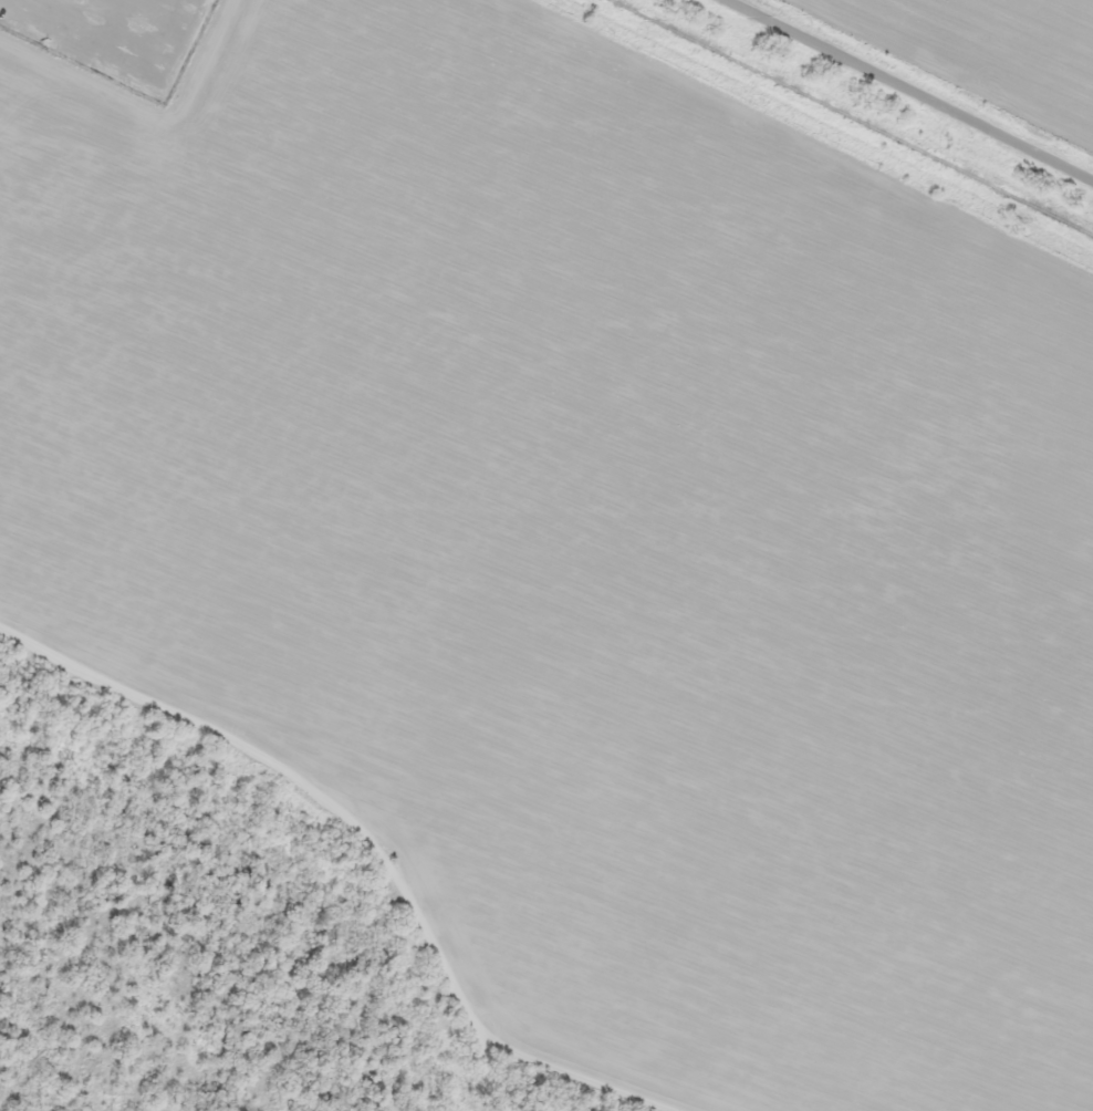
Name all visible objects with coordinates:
road: (913, 86)
railway: (851, 118)

